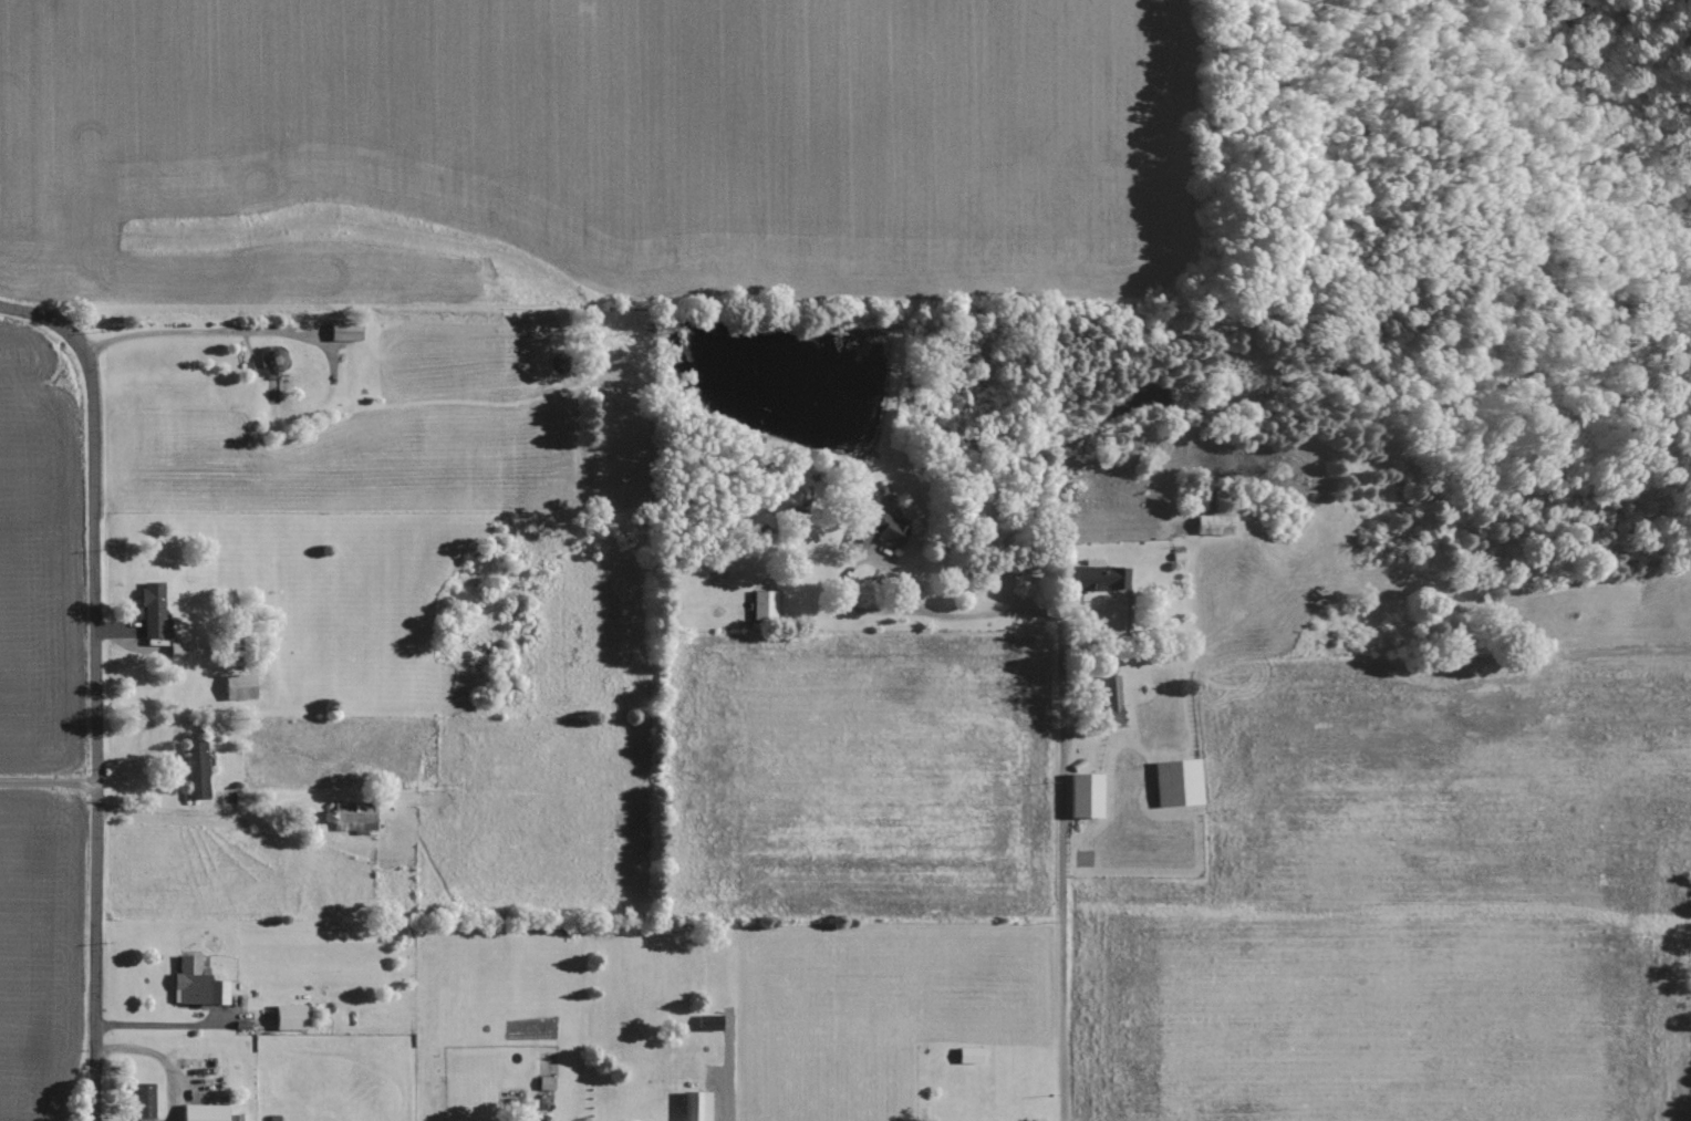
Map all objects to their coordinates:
building: (344, 332)
road: (194, 339)
building: (885, 529)
building: (1097, 579)
building: (762, 605)
building: (153, 612)
road: (1058, 626)
building: (239, 686)
road: (92, 689)
building: (1110, 696)
building: (195, 770)
building: (1176, 782)
road: (46, 787)
building: (1085, 795)
road: (169, 817)
building: (353, 817)
road: (1059, 921)
building: (196, 984)
building: (291, 1017)
building: (708, 1023)
road: (154, 1030)
building: (968, 1056)
road: (158, 1060)
building: (143, 1101)
building: (697, 1107)
building: (204, 1112)

